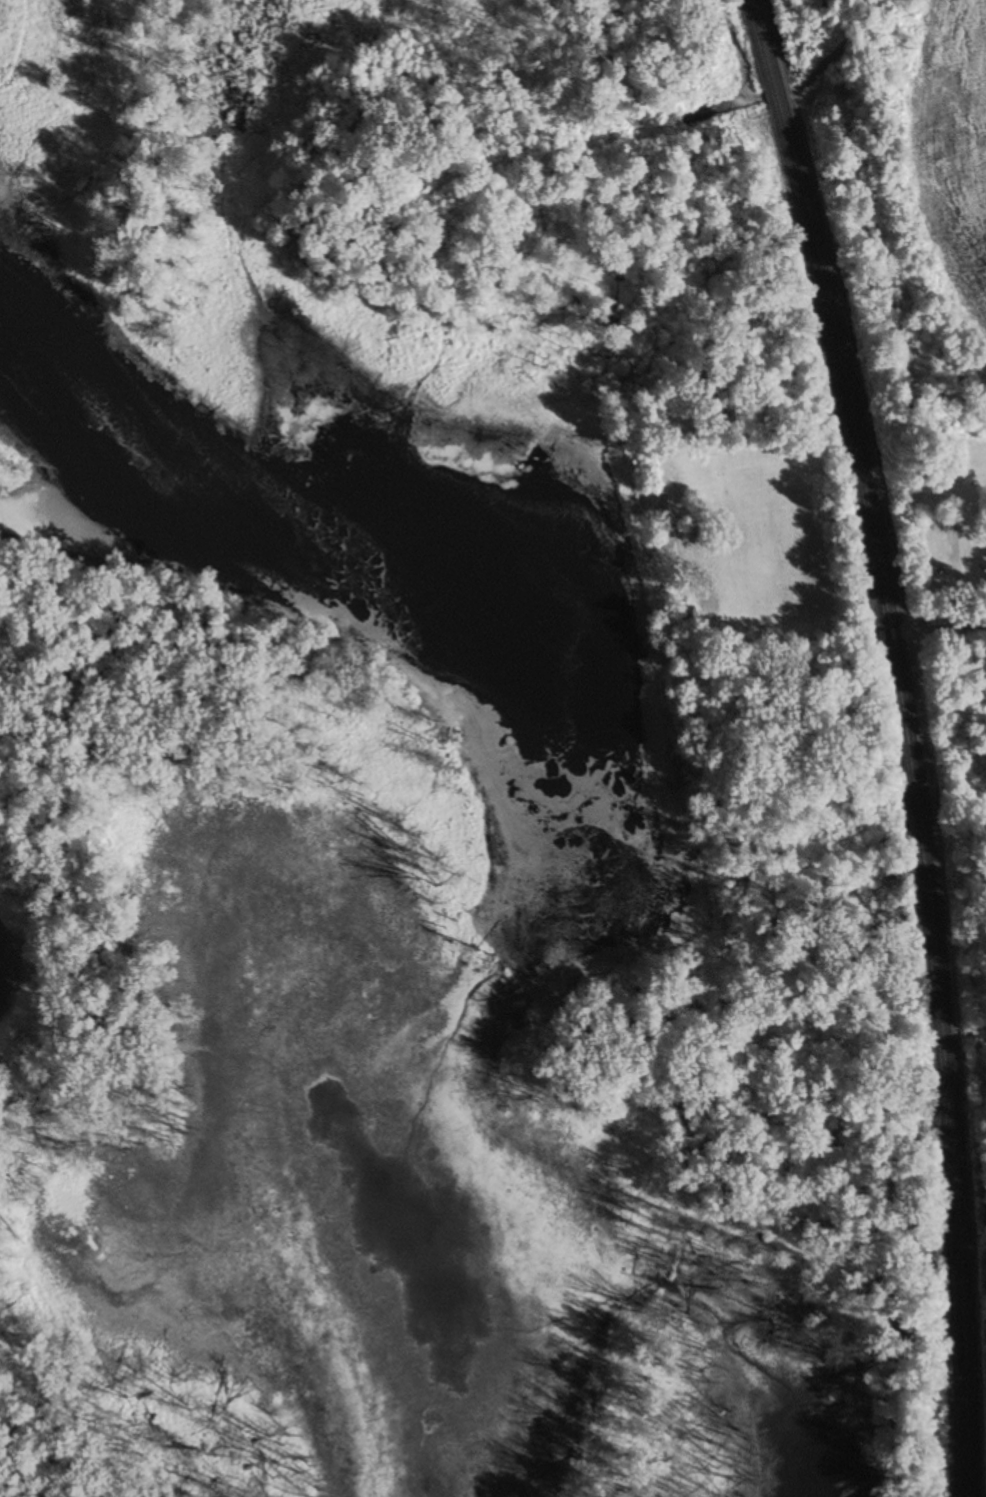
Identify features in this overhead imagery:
railway: (765, 36)
railway: (755, 38)
railway: (780, 91)
railway: (771, 94)
road: (937, 629)
road: (724, 632)
railway: (919, 797)
railway: (909, 799)

